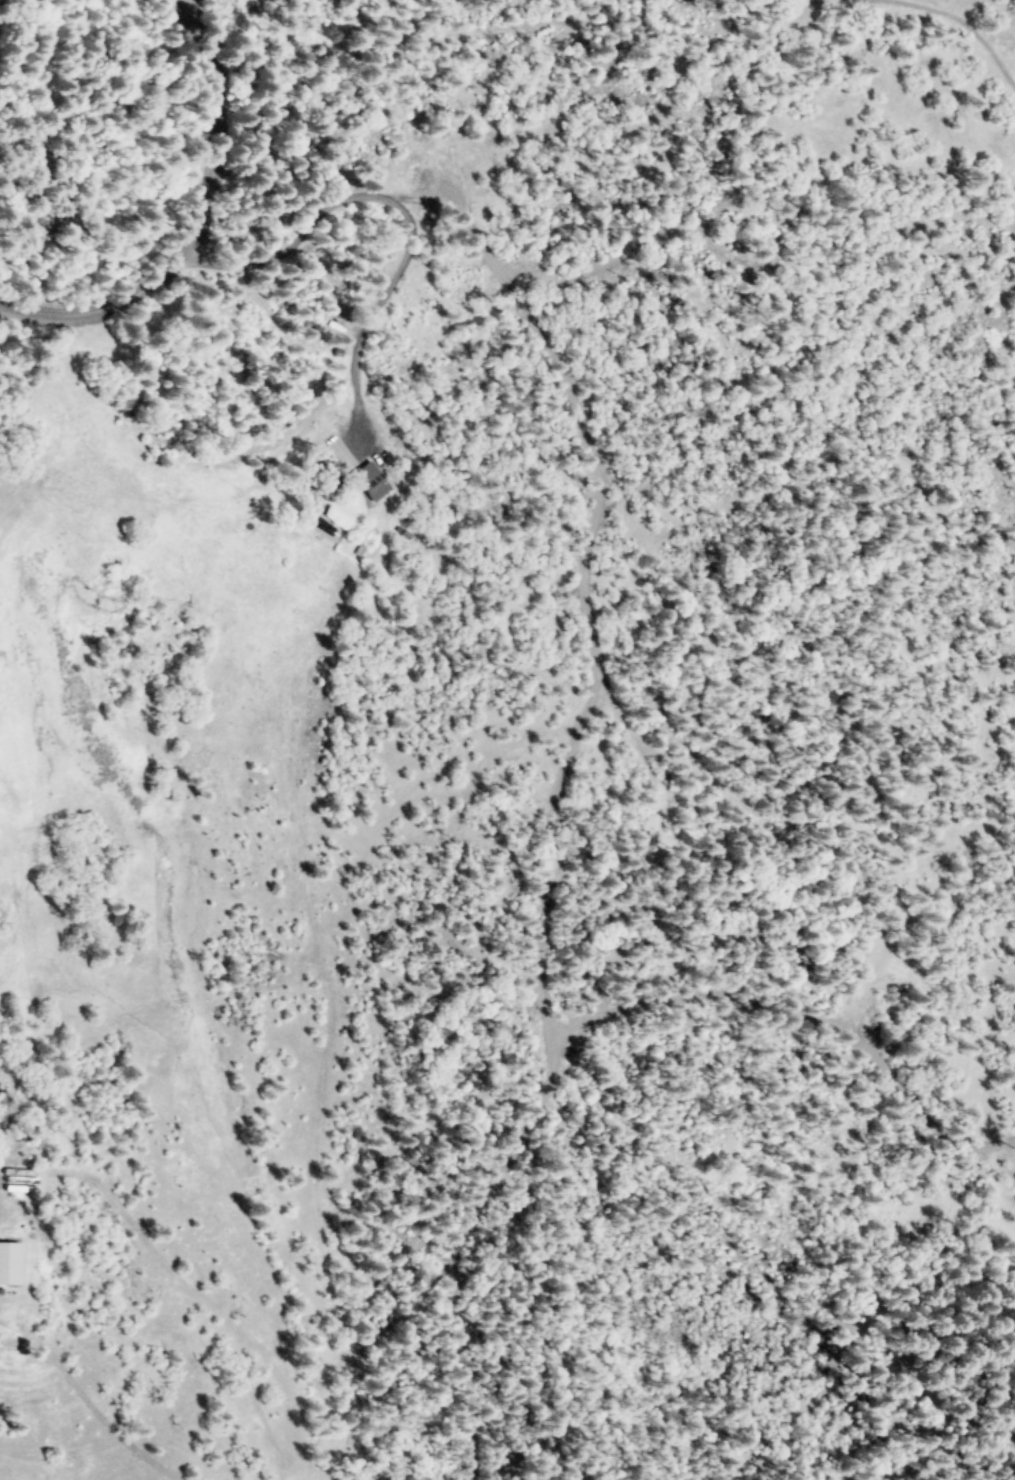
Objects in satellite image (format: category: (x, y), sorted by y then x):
road: (98, 147)
building: (322, 473)
building: (367, 481)
building: (8, 1263)

